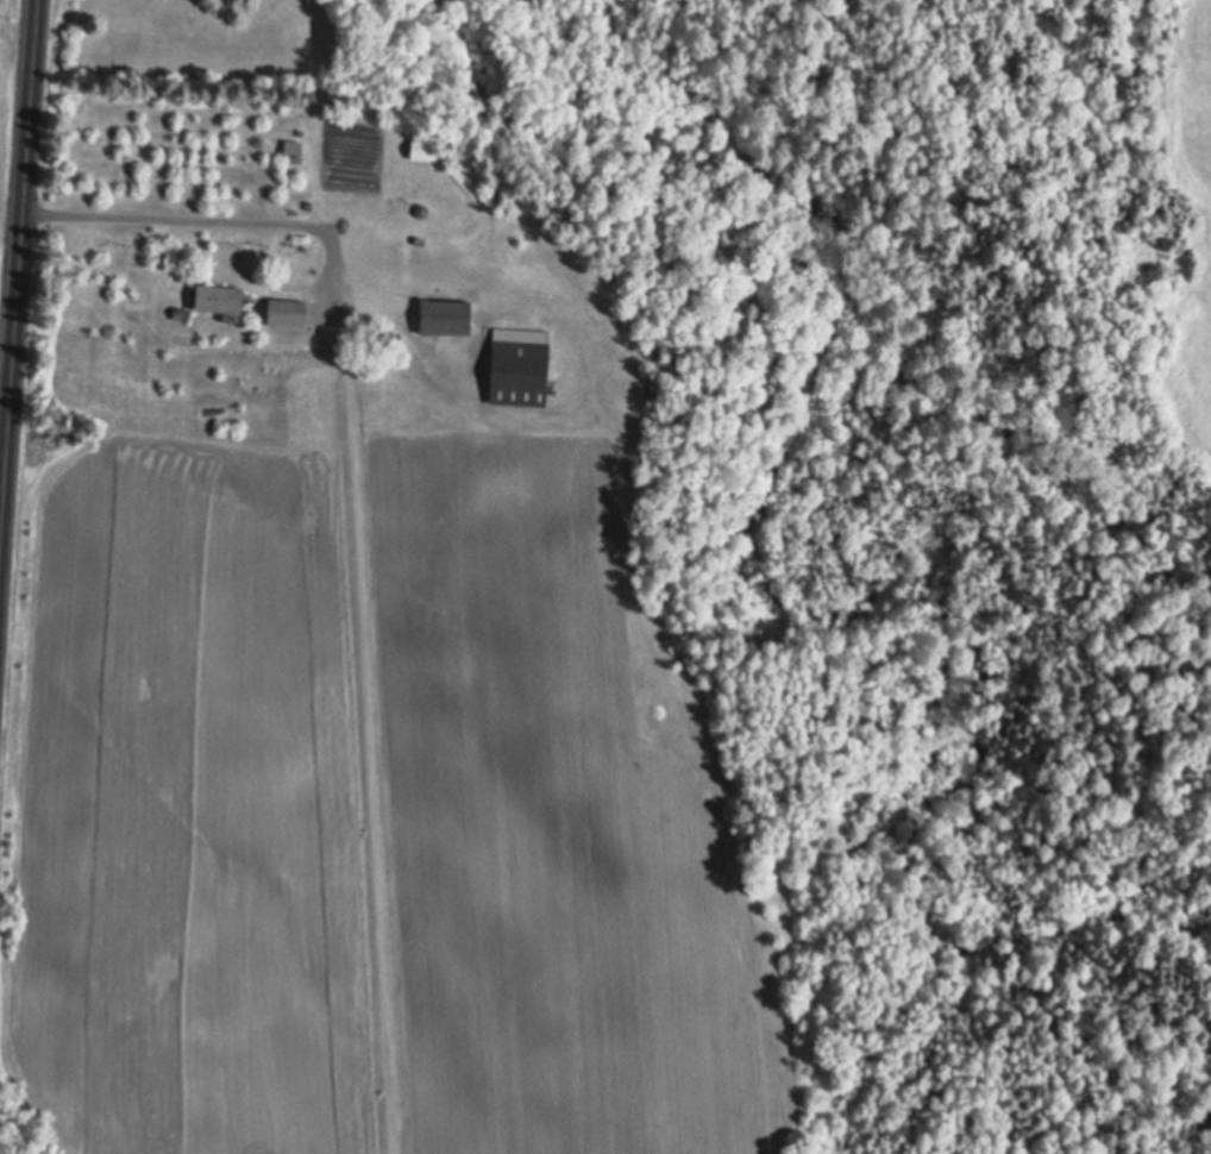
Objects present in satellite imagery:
building: (353, 121)
building: (293, 148)
building: (423, 151)
building: (421, 212)
road: (217, 222)
road: (19, 284)
building: (220, 302)
building: (181, 314)
building: (287, 314)
building: (445, 319)
building: (519, 374)

